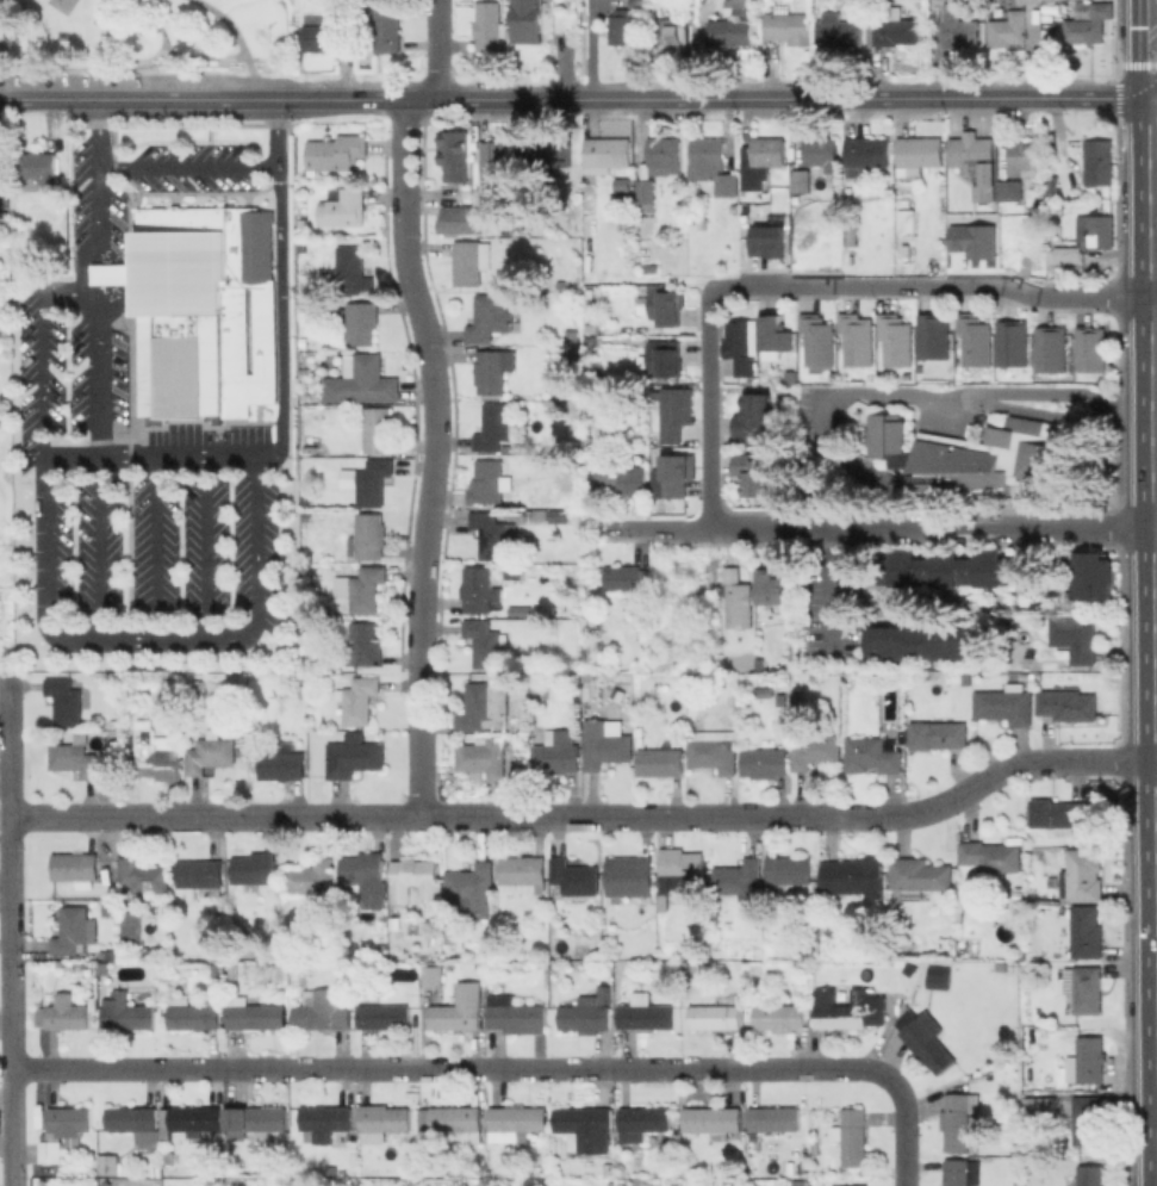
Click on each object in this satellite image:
building: (1031, 0)
building: (639, 2)
road: (4, 6)
road: (1152, 11)
building: (528, 20)
road: (1155, 23)
building: (1090, 24)
building: (490, 25)
building: (388, 26)
building: (622, 26)
building: (734, 26)
building: (789, 26)
building: (895, 26)
building: (958, 26)
building: (839, 29)
building: (1008, 29)
building: (673, 31)
building: (331, 36)
park: (148, 37)
road: (240, 41)
building: (4, 49)
road: (436, 49)
road: (595, 49)
road: (179, 52)
road: (1139, 57)
road: (1147, 63)
road: (1153, 92)
road: (32, 99)
road: (180, 99)
road: (350, 99)
road: (444, 99)
road: (817, 99)
road: (1153, 106)
building: (609, 150)
building: (336, 151)
building: (666, 151)
building: (920, 151)
building: (867, 153)
building: (542, 156)
building: (455, 157)
building: (1026, 157)
building: (761, 160)
building: (814, 160)
building: (1100, 161)
building: (496, 163)
building: (978, 163)
building: (39, 164)
building: (711, 166)
road: (192, 168)
road: (101, 181)
building: (1052, 184)
building: (1013, 188)
building: (647, 190)
building: (870, 193)
building: (622, 197)
building: (342, 206)
building: (907, 218)
building: (464, 219)
building: (989, 221)
building: (5, 224)
building: (301, 224)
building: (1099, 230)
building: (851, 234)
building: (769, 243)
building: (1065, 259)
building: (468, 262)
building: (353, 269)
road: (102, 273)
building: (117, 273)
road: (763, 285)
road: (910, 285)
road: (284, 287)
road: (723, 288)
building: (238, 294)
road: (1090, 297)
building: (665, 308)
building: (491, 317)
building: (361, 321)
building: (183, 324)
building: (593, 329)
building: (632, 329)
building: (251, 331)
building: (573, 335)
building: (777, 335)
building: (935, 339)
building: (819, 341)
building: (897, 341)
building: (858, 342)
building: (976, 342)
building: (1014, 342)
road: (45, 348)
building: (742, 348)
building: (1093, 349)
building: (1053, 350)
building: (577, 355)
building: (666, 359)
building: (494, 370)
building: (304, 371)
road: (1153, 371)
road: (102, 372)
parking lot: (68, 378)
building: (363, 381)
road: (433, 383)
road: (1156, 383)
road: (906, 395)
road: (707, 409)
building: (755, 412)
building: (677, 414)
building: (494, 426)
building: (378, 428)
building: (889, 433)
road: (1156, 449)
building: (1003, 452)
building: (596, 455)
road: (153, 460)
building: (753, 473)
building: (676, 474)
building: (627, 477)
building: (371, 480)
building: (489, 480)
building: (540, 515)
road: (1156, 527)
road: (647, 528)
road: (932, 528)
building: (368, 535)
building: (491, 535)
road: (210, 549)
road: (102, 551)
road: (160, 551)
road: (260, 554)
building: (944, 569)
road: (49, 572)
building: (1091, 576)
building: (627, 577)
road: (829, 584)
building: (773, 586)
building: (365, 588)
building: (479, 589)
building: (739, 601)
building: (1076, 635)
road: (172, 641)
building: (485, 642)
building: (362, 644)
building: (923, 645)
road: (2, 670)
building: (968, 677)
building: (359, 698)
building: (66, 700)
building: (1070, 703)
building: (484, 704)
building: (1003, 704)
building: (938, 734)
road: (417, 741)
building: (604, 744)
building: (815, 749)
building: (715, 751)
building: (210, 753)
building: (484, 755)
building: (871, 755)
building: (556, 756)
building: (157, 757)
building: (353, 757)
building: (74, 758)
building: (660, 762)
building: (764, 762)
building: (280, 765)
building: (1060, 813)
road: (586, 814)
building: (988, 857)
building: (75, 865)
building: (254, 869)
building: (788, 869)
building: (522, 871)
building: (680, 873)
building: (1081, 874)
building: (200, 875)
building: (309, 875)
building: (573, 875)
building: (736, 875)
building: (852, 875)
building: (919, 875)
building: (142, 876)
building: (363, 876)
building: (412, 877)
building: (632, 877)
building: (471, 884)
building: (1019, 892)
building: (664, 904)
building: (71, 929)
road: (6, 930)
building: (1086, 931)
building: (131, 932)
building: (450, 934)
building: (274, 944)
building: (804, 946)
building: (382, 948)
building: (670, 964)
building: (923, 965)
building: (909, 968)
building: (1030, 968)
building: (235, 971)
building: (430, 974)
building: (938, 976)
building: (1084, 987)
building: (458, 1007)
building: (321, 1010)
building: (850, 1010)
building: (126, 1011)
building: (586, 1012)
building: (61, 1013)
building: (253, 1013)
building: (714, 1013)
building: (779, 1013)
building: (194, 1014)
building: (382, 1014)
building: (515, 1014)
building: (646, 1014)
building: (923, 1038)
building: (1084, 1061)
road: (423, 1066)
road: (903, 1104)
building: (1037, 1105)
building: (195, 1117)
building: (70, 1118)
building: (772, 1118)
building: (958, 1118)
building: (1087, 1118)
building: (255, 1119)
building: (713, 1119)
building: (324, 1120)
building: (453, 1120)
building: (642, 1120)
building: (135, 1122)
building: (384, 1122)
building: (515, 1122)
building: (584, 1126)
building: (853, 1136)
building: (815, 1147)
building: (52, 1149)
building: (168, 1157)
building: (108, 1162)
building: (506, 1166)
building: (960, 1172)
building: (1089, 1175)
building: (106, 1182)
building: (848, 1185)

